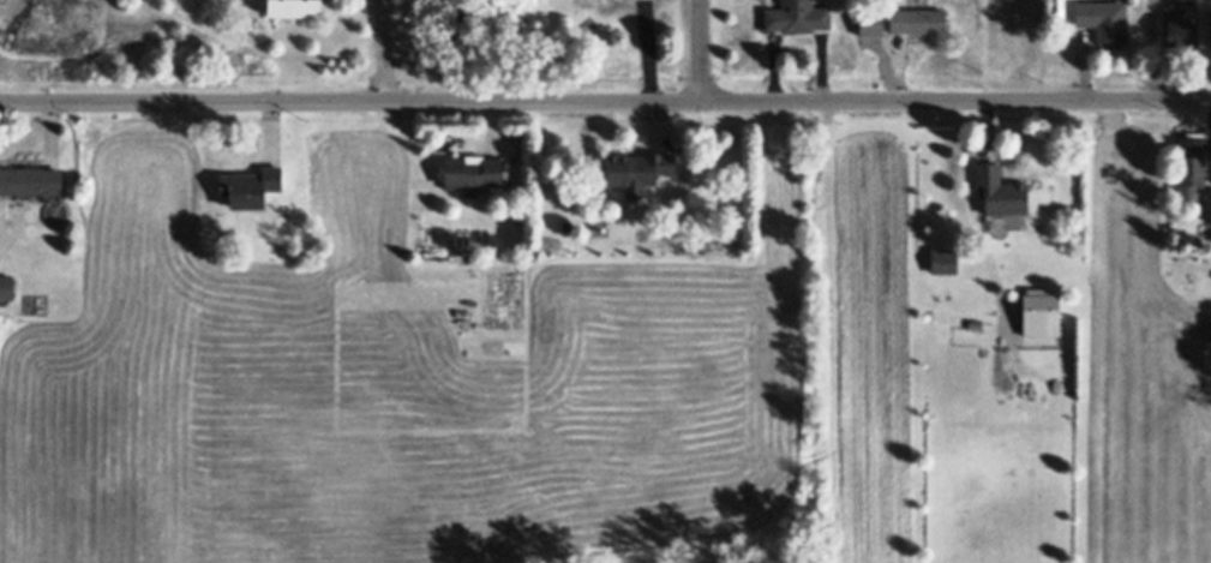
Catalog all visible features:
building: (1185, 1)
building: (296, 7)
building: (797, 18)
building: (1101, 20)
building: (916, 22)
building: (1207, 25)
building: (1179, 35)
building: (873, 37)
road: (397, 50)
road: (702, 50)
road: (605, 101)
building: (1187, 166)
building: (640, 169)
building: (468, 173)
building: (1199, 173)
building: (30, 181)
building: (251, 187)
building: (997, 191)
building: (32, 198)
building: (1207, 206)
building: (54, 211)
building: (1000, 234)
building: (736, 241)
building: (941, 262)
building: (5, 287)
building: (1039, 311)

